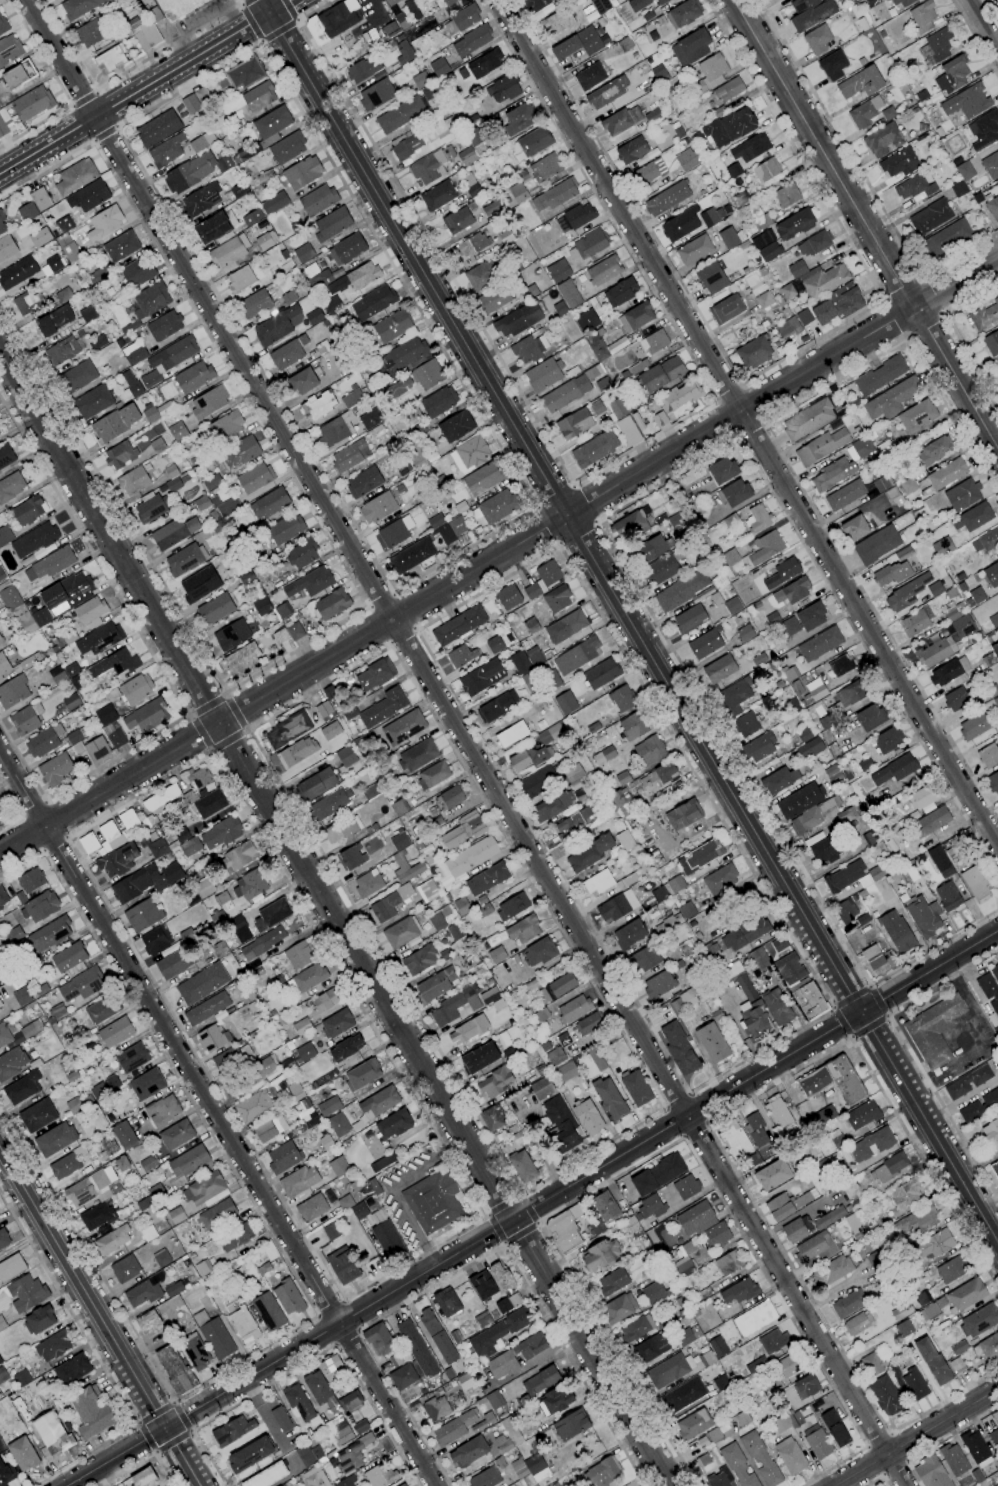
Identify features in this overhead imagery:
building: (429, 1)
building: (578, 1)
building: (392, 2)
building: (448, 2)
building: (613, 2)
building: (659, 2)
building: (902, 2)
building: (536, 4)
building: (638, 4)
building: (105, 5)
building: (601, 5)
building: (79, 7)
building: (411, 7)
building: (173, 9)
road: (292, 9)
building: (810, 12)
traffic signals: (268, 13)
road: (990, 13)
building: (684, 14)
building: (648, 16)
building: (923, 16)
building: (400, 18)
road: (298, 20)
building: (462, 20)
building: (661, 20)
building: (558, 22)
building: (133, 23)
building: (331, 23)
road: (983, 24)
building: (3, 25)
road: (279, 29)
building: (391, 29)
building: (91, 32)
building: (882, 34)
building: (145, 35)
building: (473, 40)
building: (818, 40)
road: (974, 40)
road: (262, 42)
building: (625, 44)
building: (694, 45)
building: (937, 47)
building: (566, 48)
building: (9, 49)
building: (404, 52)
building: (111, 59)
building: (862, 61)
building: (485, 64)
building: (833, 65)
building: (439, 67)
building: (363, 70)
road: (124, 73)
building: (246, 73)
building: (19, 74)
building: (710, 74)
building: (952, 74)
building: (590, 76)
building: (661, 76)
building: (905, 76)
building: (421, 80)
building: (861, 83)
road: (144, 86)
road: (61, 88)
building: (504, 88)
building: (729, 89)
building: (429, 92)
building: (658, 92)
building: (607, 93)
building: (201, 94)
building: (377, 95)
building: (921, 95)
building: (259, 96)
road: (83, 97)
building: (967, 102)
building: (33, 103)
building: (191, 104)
building: (691, 104)
road: (108, 109)
building: (669, 109)
building: (719, 111)
building: (865, 112)
building: (888, 113)
building: (401, 115)
building: (653, 116)
building: (519, 119)
building: (621, 121)
building: (469, 122)
building: (4, 123)
road: (82, 124)
building: (730, 127)
building: (159, 129)
building: (678, 130)
building: (986, 130)
building: (266, 132)
road: (106, 136)
building: (475, 136)
building: (423, 139)
building: (687, 140)
building: (883, 140)
building: (535, 141)
building: (202, 142)
building: (287, 147)
building: (751, 147)
building: (168, 150)
building: (632, 150)
building: (467, 156)
building: (688, 159)
building: (899, 163)
building: (991, 166)
building: (428, 167)
building: (545, 168)
building: (767, 170)
building: (195, 171)
building: (965, 171)
building: (303, 172)
building: (649, 173)
building: (76, 177)
building: (265, 177)
road: (861, 177)
building: (470, 185)
building: (709, 188)
building: (915, 189)
building: (959, 189)
building: (239, 190)
building: (522, 192)
building: (555, 195)
building: (89, 196)
building: (439, 196)
building: (787, 196)
building: (41, 199)
building: (667, 199)
building: (201, 200)
building: (319, 200)
building: (274, 203)
building: (472, 206)
building: (493, 206)
building: (993, 208)
building: (727, 210)
building: (27, 211)
building: (721, 213)
building: (252, 217)
building: (931, 217)
building: (576, 218)
building: (709, 218)
building: (458, 221)
building: (762, 222)
building: (2, 223)
building: (105, 223)
road: (865, 223)
building: (64, 224)
building: (332, 224)
building: (681, 224)
building: (794, 224)
building: (213, 227)
building: (297, 227)
building: (40, 237)
building: (506, 237)
building: (731, 237)
building: (948, 238)
building: (266, 240)
building: (815, 243)
building: (589, 244)
building: (122, 246)
building: (7, 247)
building: (471, 247)
building: (68, 248)
building: (349, 248)
building: (694, 250)
building: (229, 251)
building: (770, 251)
building: (302, 254)
building: (53, 265)
building: (797, 269)
building: (311, 270)
building: (558, 271)
building: (604, 271)
building: (138, 272)
building: (18, 273)
building: (99, 274)
building: (482, 275)
building: (712, 278)
building: (240, 279)
building: (355, 279)
building: (320, 280)
building: (823, 280)
road: (900, 287)
building: (733, 288)
building: (790, 290)
building: (620, 292)
building: (62, 293)
building: (529, 293)
building: (569, 294)
road: (930, 296)
building: (121, 297)
building: (289, 298)
building: (494, 298)
building: (151, 300)
building: (764, 300)
building: (26, 302)
building: (374, 303)
building: (254, 304)
building: (331, 304)
building: (836, 306)
building: (783, 307)
building: (560, 309)
building: (727, 310)
building: (796, 310)
building: (87, 312)
building: (984, 316)
building: (314, 317)
building: (636, 317)
road: (893, 317)
building: (804, 318)
building: (518, 319)
building: (587, 321)
building: (53, 322)
building: (165, 325)
road: (924, 325)
building: (278, 326)
building: (393, 326)
building: (130, 327)
building: (789, 327)
road: (953, 334)
building: (654, 342)
building: (98, 343)
building: (120, 343)
building: (991, 343)
building: (604, 346)
building: (322, 348)
building: (529, 349)
building: (62, 350)
building: (135, 352)
building: (755, 352)
building: (288, 353)
building: (168, 359)
building: (397, 359)
building: (118, 364)
building: (639, 367)
road: (766, 368)
building: (997, 368)
building: (317, 371)
building: (593, 371)
building: (573, 372)
building: (544, 374)
building: (661, 374)
building: (428, 375)
building: (625, 375)
building: (879, 375)
building: (79, 376)
building: (195, 377)
building: (303, 381)
building: (604, 385)
building: (397, 388)
building: (129, 390)
building: (565, 393)
road: (726, 393)
building: (681, 396)
building: (352, 397)
building: (891, 399)
building: (439, 401)
building: (94, 402)
building: (209, 402)
road: (752, 403)
building: (318, 405)
building: (596, 407)
building: (618, 408)
building: (165, 409)
building: (150, 413)
building: (917, 416)
road: (726, 419)
building: (369, 420)
building: (660, 420)
building: (808, 420)
building: (638, 421)
road: (749, 422)
building: (115, 423)
building: (575, 424)
building: (225, 426)
building: (456, 426)
road: (751, 429)
building: (335, 430)
building: (418, 430)
building: (178, 431)
building: (628, 431)
building: (158, 446)
building: (821, 447)
building: (863, 447)
building: (595, 449)
building: (933, 451)
building: (470, 453)
building: (237, 454)
building: (415, 454)
building: (6, 455)
building: (121, 455)
building: (350, 456)
building: (194, 460)
building: (722, 470)
building: (171, 471)
road: (595, 471)
road: (791, 471)
building: (833, 474)
building: (947, 474)
building: (255, 478)
building: (483, 478)
building: (134, 480)
building: (212, 482)
building: (364, 482)
building: (881, 484)
building: (908, 485)
building: (171, 486)
building: (11, 487)
building: (203, 493)
building: (736, 493)
building: (845, 495)
building: (892, 495)
building: (963, 495)
road: (553, 497)
building: (202, 502)
building: (270, 503)
road: (585, 503)
building: (224, 505)
building: (151, 507)
building: (378, 507)
building: (461, 507)
building: (496, 508)
building: (30, 510)
building: (213, 515)
building: (972, 518)
building: (757, 519)
building: (436, 521)
building: (632, 521)
building: (731, 521)
building: (459, 525)
road: (546, 526)
building: (286, 528)
road: (601, 528)
building: (855, 528)
building: (240, 531)
building: (174, 532)
building: (444, 533)
road: (578, 533)
building: (391, 534)
building: (5, 535)
building: (36, 541)
building: (986, 541)
building: (877, 545)
building: (943, 547)
building: (764, 549)
building: (649, 550)
building: (303, 553)
building: (903, 554)
building: (412, 555)
road: (498, 556)
building: (185, 559)
building: (254, 559)
building: (728, 559)
building: (27, 560)
building: (51, 563)
building: (662, 568)
building: (783, 573)
building: (892, 573)
building: (2, 574)
building: (959, 575)
building: (992, 575)
building: (751, 576)
building: (247, 577)
building: (543, 579)
building: (720, 581)
building: (277, 582)
building: (311, 582)
building: (200, 584)
building: (965, 585)
building: (935, 589)
road: (358, 590)
building: (682, 590)
building: (793, 591)
road: (393, 592)
building: (67, 593)
building: (906, 593)
building: (952, 594)
building: (9, 595)
building: (977, 595)
building: (508, 597)
road: (379, 599)
building: (557, 599)
building: (716, 599)
building: (331, 604)
building: (969, 605)
building: (263, 606)
building: (732, 606)
building: (216, 608)
building: (284, 610)
building: (953, 610)
building: (783, 611)
building: (90, 612)
road: (403, 612)
building: (811, 616)
building: (41, 617)
building: (24, 618)
building: (773, 618)
building: (690, 619)
road: (630, 620)
building: (994, 620)
building: (916, 622)
building: (459, 625)
building: (531, 625)
road: (379, 626)
building: (789, 626)
building: (566, 627)
building: (964, 628)
building: (289, 631)
building: (745, 633)
building: (233, 635)
building: (69, 636)
road: (403, 638)
building: (100, 639)
building: (1, 641)
building: (705, 643)
building: (820, 644)
building: (496, 646)
building: (995, 650)
building: (936, 652)
building: (13, 654)
building: (461, 656)
building: (578, 656)
building: (759, 659)
building: (243, 660)
building: (537, 660)
building: (989, 660)
building: (520, 661)
building: (28, 663)
building: (115, 664)
building: (3, 665)
building: (841, 665)
road: (160, 666)
building: (720, 669)
building: (951, 672)
building: (789, 673)
building: (376, 674)
building: (601, 674)
building: (57, 675)
building: (479, 677)
building: (549, 678)
building: (79, 680)
building: (531, 682)
building: (137, 688)
building: (797, 688)
building: (816, 690)
building: (13, 692)
building: (853, 692)
building: (991, 692)
building: (331, 693)
building: (113, 694)
building: (735, 696)
building: (622, 698)
building: (956, 699)
building: (72, 702)
building: (565, 702)
building: (995, 702)
road: (207, 704)
building: (498, 707)
building: (791, 707)
building: (380, 708)
building: (324, 709)
road: (236, 712)
building: (106, 714)
building: (147, 716)
building: (871, 717)
building: (26, 719)
building: (747, 724)
building: (404, 727)
building: (633, 727)
building: (974, 727)
building: (593, 728)
building: (288, 730)
building: (331, 731)
building: (551, 733)
road: (201, 734)
building: (803, 734)
building: (511, 735)
building: (77, 736)
building: (115, 736)
building: (354, 737)
building: (44, 741)
road: (230, 741)
building: (887, 741)
road: (467, 743)
building: (93, 747)
building: (759, 747)
building: (809, 748)
building: (366, 750)
building: (650, 750)
building: (297, 752)
building: (418, 755)
building: (603, 755)
building: (988, 755)
building: (346, 756)
building: (529, 758)
building: (865, 764)
building: (56, 769)
building: (895, 770)
building: (379, 771)
building: (832, 774)
building: (434, 775)
building: (574, 776)
building: (199, 777)
building: (623, 778)
building: (657, 778)
building: (541, 779)
building: (776, 781)
building: (993, 783)
building: (316, 784)
building: (372, 791)
building: (845, 792)
building: (201, 793)
building: (453, 796)
building: (161, 798)
building: (189, 798)
building: (924, 799)
building: (799, 801)
building: (619, 802)
building: (330, 803)
building: (609, 803)
building: (210, 804)
road: (32, 805)
building: (553, 805)
road: (16, 806)
building: (399, 807)
building: (2, 809)
building: (683, 815)
building: (846, 816)
building: (913, 816)
building: (811, 817)
road: (57, 818)
building: (149, 821)
building: (575, 821)
building: (128, 822)
building: (932, 822)
building: (437, 823)
building: (465, 829)
building: (343, 830)
building: (109, 831)
building: (222, 833)
building: (183, 836)
building: (871, 838)
building: (400, 841)
building: (625, 841)
building: (89, 843)
building: (418, 845)
road: (56, 846)
building: (154, 846)
building: (190, 846)
building: (106, 847)
building: (827, 849)
building: (590, 853)
building: (951, 854)
building: (168, 856)
building: (471, 856)
building: (238, 857)
building: (700, 857)
building: (351, 858)
building: (654, 858)
building: (431, 859)
building: (118, 860)
building: (940, 862)
building: (400, 863)
building: (412, 872)
building: (172, 873)
building: (852, 877)
building: (488, 879)
building: (629, 879)
building: (720, 879)
building: (31, 882)
building: (598, 882)
building: (368, 883)
building: (134, 884)
building: (676, 884)
building: (975, 884)
building: (251, 885)
building: (205, 887)
building: (429, 890)
building: (448, 897)
building: (949, 897)
building: (2, 898)
building: (21, 898)
building: (222, 898)
building: (483, 900)
building: (391, 903)
building: (462, 905)
building: (40, 907)
building: (512, 907)
building: (617, 907)
building: (485, 910)
building: (686, 910)
building: (845, 912)
building: (143, 915)
building: (272, 915)
building: (923, 916)
building: (219, 917)
building: (442, 917)
road: (335, 919)
building: (862, 919)
building: (668, 924)
building: (240, 928)
building: (524, 929)
building: (402, 932)
building: (897, 932)
building: (746, 933)
building: (15, 934)
building: (50, 934)
building: (629, 934)
building: (187, 935)
building: (456, 940)
building: (156, 941)
building: (263, 943)
building: (686, 947)
building: (219, 949)
building: (541, 952)
building: (871, 953)
building: (300, 955)
building: (498, 955)
building: (760, 958)
building: (70, 959)
building: (644, 959)
building: (420, 960)
building: (176, 963)
building: (7, 969)
building: (790, 969)
road: (929, 971)
building: (995, 971)
building: (256, 972)
building: (278, 979)
building: (308, 979)
building: (202, 983)
building: (82, 984)
building: (659, 984)
building: (436, 985)
building: (532, 985)
road: (869, 986)
building: (557, 988)
building: (42, 989)
building: (989, 990)
building: (248, 995)
building: (490, 995)
building: (22, 996)
road: (851, 996)
building: (808, 999)
building: (683, 1000)
road: (877, 1000)
building: (325, 1001)
building: (754, 1002)
building: (0, 1004)
road: (6, 1004)
building: (499, 1004)
building: (456, 1005)
building: (28, 1006)
building: (253, 1007)
building: (777, 1007)
building: (208, 1008)
road: (833, 1008)
building: (103, 1009)
building: (533, 1009)
building: (575, 1009)
building: (0, 1011)
building: (58, 1012)
traffic signals: (860, 1012)
building: (273, 1013)
building: (542, 1015)
building: (717, 1015)
road: (886, 1015)
road: (841, 1022)
building: (337, 1023)
building: (590, 1023)
building: (302, 1026)
road: (869, 1026)
building: (31, 1029)
building: (470, 1030)
building: (934, 1030)
building: (996, 1031)
building: (115, 1032)
building: (6, 1033)
road: (851, 1036)
building: (614, 1037)
building: (212, 1038)
building: (564, 1039)
building: (243, 1041)
building: (712, 1042)
road: (981, 1042)
building: (546, 1046)
building: (347, 1048)
building: (680, 1048)
building: (306, 1052)
road: (909, 1052)
building: (510, 1054)
building: (555, 1056)
building: (133, 1058)
building: (231, 1058)
building: (479, 1058)
building: (997, 1062)
building: (12, 1063)
building: (35, 1063)
building: (290, 1066)
building: (264, 1067)
building: (541, 1070)
building: (568, 1071)
building: (80, 1072)
building: (363, 1075)
building: (72, 1076)
building: (844, 1080)
building: (497, 1081)
building: (815, 1082)
building: (968, 1082)
building: (147, 1084)
building: (242, 1084)
building: (23, 1087)
building: (104, 1087)
building: (275, 1088)
building: (542, 1088)
building: (636, 1088)
road: (689, 1092)
road: (689, 1094)
building: (990, 1098)
building: (610, 1099)
building: (380, 1101)
road: (677, 1101)
building: (75, 1105)
building: (253, 1106)
building: (329, 1106)
road: (666, 1107)
road: (697, 1109)
building: (163, 1110)
building: (778, 1112)
building: (970, 1112)
building: (307, 1113)
building: (38, 1115)
road: (218, 1116)
building: (863, 1116)
building: (493, 1117)
building: (588, 1117)
building: (820, 1118)
road: (675, 1121)
road: (706, 1123)
building: (394, 1124)
building: (339, 1125)
building: (562, 1126)
road: (694, 1128)
building: (270, 1129)
building: (513, 1129)
building: (756, 1129)
road: (713, 1133)
building: (177, 1134)
building: (991, 1134)
building: (125, 1135)
road: (684, 1136)
building: (518, 1137)
building: (56, 1139)
building: (325, 1139)
building: (734, 1139)
building: (872, 1144)
road: (666, 1145)
building: (108, 1147)
road: (535, 1147)
building: (284, 1157)
building: (754, 1159)
building: (189, 1161)
building: (383, 1162)
building: (148, 1163)
building: (122, 1164)
building: (65, 1166)
building: (523, 1166)
building: (801, 1166)
building: (339, 1167)
building: (817, 1168)
building: (889, 1168)
building: (994, 1169)
building: (840, 1172)
building: (658, 1174)
building: (774, 1174)
building: (299, 1181)
building: (355, 1186)
building: (687, 1187)
building: (92, 1189)
road: (522, 1192)
building: (850, 1192)
building: (157, 1193)
building: (201, 1194)
road: (521, 1194)
building: (905, 1194)
building: (434, 1199)
building: (346, 1203)
building: (145, 1204)
road: (504, 1205)
building: (786, 1205)
building: (605, 1206)
building: (312, 1207)
building: (652, 1207)
road: (527, 1209)
building: (357, 1211)
building: (217, 1214)
road: (485, 1214)
building: (98, 1216)
building: (697, 1218)
building: (828, 1218)
road: (513, 1220)
building: (917, 1220)
road: (537, 1222)
building: (632, 1223)
building: (873, 1226)
road: (495, 1227)
building: (856, 1227)
building: (565, 1228)
building: (334, 1229)
building: (797, 1229)
building: (151, 1232)
road: (519, 1232)
building: (717, 1235)
building: (236, 1237)
building: (4, 1238)
building: (113, 1240)
building: (389, 1240)
road: (503, 1243)
building: (935, 1244)
building: (689, 1247)
building: (206, 1248)
building: (815, 1250)
building: (600, 1254)
building: (162, 1259)
road: (473, 1262)
building: (729, 1262)
building: (344, 1266)
building: (11, 1268)
building: (203, 1268)
building: (265, 1268)
building: (125, 1269)
building: (684, 1269)
building: (952, 1270)
building: (831, 1272)
building: (648, 1273)
building: (910, 1273)
building: (503, 1277)
road: (295, 1281)
building: (613, 1281)
building: (483, 1285)
road: (83, 1286)
building: (174, 1290)
building: (740, 1291)
building: (705, 1292)
building: (27, 1293)
building: (143, 1293)
building: (656, 1293)
building: (966, 1295)
building: (289, 1297)
building: (923, 1298)
road: (341, 1299)
building: (515, 1300)
road: (341, 1301)
building: (447, 1302)
building: (679, 1302)
building: (849, 1303)
building: (504, 1305)
building: (620, 1308)
road: (329, 1309)
building: (269, 1312)
building: (683, 1312)
building: (902, 1312)
building: (929, 1312)
building: (707, 1315)
road: (317, 1316)
road: (348, 1316)
building: (482, 1318)
building: (755, 1318)
building: (40, 1319)
building: (669, 1320)
building: (149, 1322)
building: (977, 1322)
building: (2, 1323)
building: (858, 1324)
building: (244, 1325)
building: (637, 1328)
building: (905, 1328)
road: (326, 1330)
road: (357, 1331)
building: (498, 1333)
building: (684, 1334)
building: (214, 1336)
building: (438, 1336)
building: (456, 1336)
road: (345, 1337)
building: (379, 1340)
building: (774, 1341)
road: (334, 1344)
building: (53, 1346)
building: (718, 1346)
building: (417, 1347)
building: (651, 1348)
building: (958, 1348)
building: (988, 1349)
building: (195, 1352)
building: (506, 1355)
road: (98, 1359)
building: (398, 1359)
building: (707, 1359)
road: (305, 1360)
building: (1, 1361)
building: (933, 1362)
building: (873, 1364)
building: (756, 1365)
building: (790, 1365)
building: (957, 1366)
building: (331, 1368)
building: (72, 1370)
building: (176, 1370)
building: (669, 1370)
building: (3, 1375)
building: (895, 1376)
building: (404, 1377)
building: (22, 1378)
building: (540, 1382)
building: (721, 1383)
building: (915, 1384)
building: (469, 1386)
building: (806, 1386)
building: (317, 1387)
building: (729, 1391)
building: (685, 1394)
building: (59, 1395)
building: (886, 1396)
building: (495, 1400)
building: (481, 1401)
road: (173, 1402)
building: (299, 1402)
building: (351, 1402)
building: (555, 1402)
building: (436, 1409)
building: (91, 1412)
road: (155, 1413)
road: (180, 1417)
building: (280, 1419)
building: (743, 1419)
building: (795, 1420)
building: (484, 1422)
road: (137, 1423)
building: (694, 1424)
building: (781, 1424)
building: (572, 1425)
building: (361, 1427)
traffic signals: (167, 1428)
building: (455, 1428)
building: (834, 1428)
building: (512, 1430)
building: (233, 1431)
road: (190, 1432)
road: (890, 1433)
building: (54, 1435)
building: (715, 1435)
building: (342, 1436)
road: (147, 1437)
road: (916, 1437)
building: (994, 1437)
road: (879, 1440)
road: (940, 1440)
road: (172, 1441)
building: (817, 1441)
building: (703, 1442)
building: (503, 1444)
road: (867, 1445)
road: (897, 1447)
building: (976, 1449)
road: (155, 1452)
building: (469, 1452)
building: (23, 1454)
building: (353, 1454)
building: (250, 1455)
road: (117, 1456)
building: (306, 1456)
building: (791, 1456)
road: (184, 1457)
road: (143, 1459)
building: (761, 1459)
road: (875, 1459)
building: (954, 1459)
building: (703, 1460)
road: (905, 1461)
building: (534, 1463)
building: (569, 1464)
building: (738, 1465)
road: (893, 1466)
building: (519, 1468)
building: (603, 1472)
building: (932, 1472)
building: (6, 1474)
road: (882, 1474)
building: (268, 1476)
building: (381, 1476)
building: (977, 1476)
building: (143, 1477)
building: (315, 1477)
road: (879, 1477)
building: (486, 1478)
building: (721, 1478)
building: (346, 1481)
building: (120, 1485)
building: (404, 1485)

